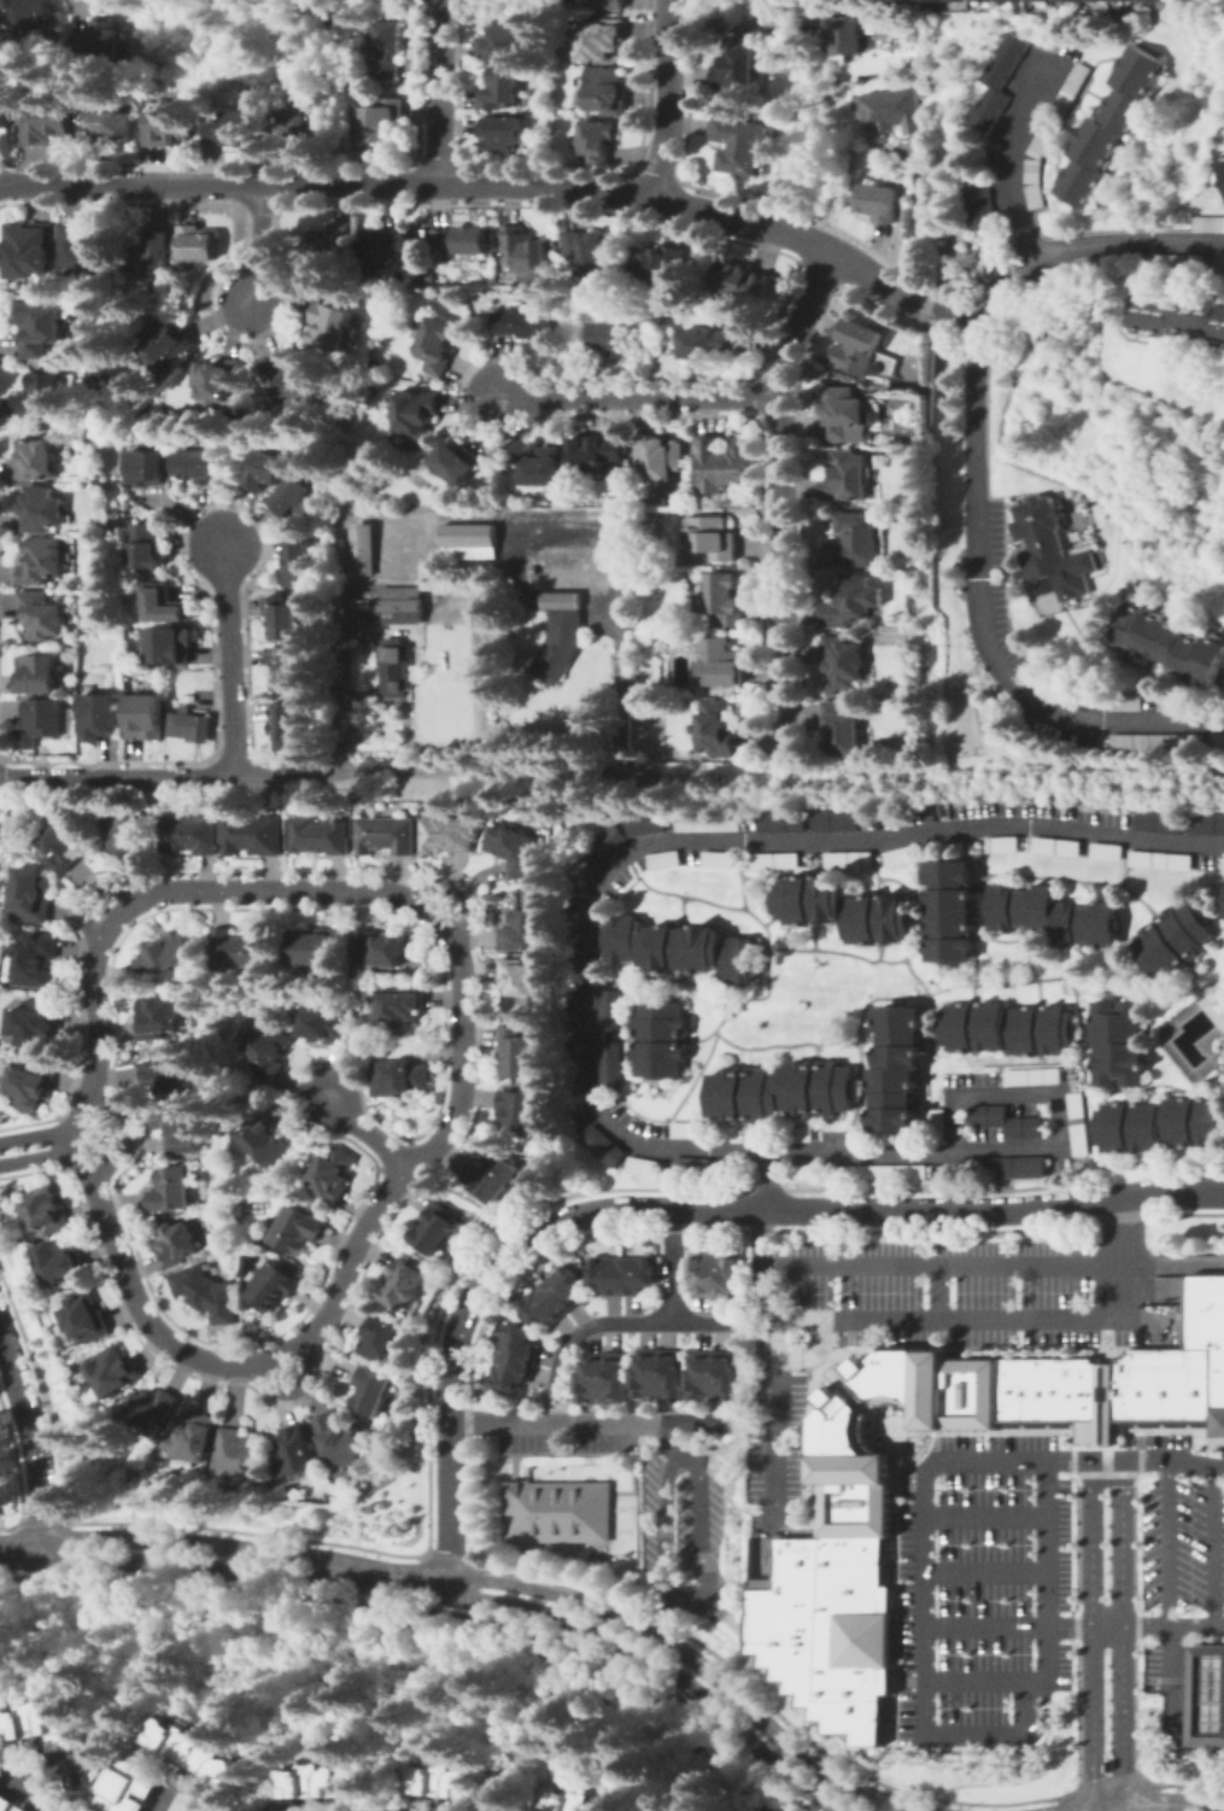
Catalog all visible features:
building: (901, 0)
building: (921, 0)
building: (954, 0)
building: (982, 0)
building: (1006, 0)
building: (1030, 0)
building: (1042, 0)
building: (1070, 0)
building: (1094, 0)
building: (1150, 0)
road: (87, 2)
building: (608, 5)
building: (29, 10)
road: (733, 27)
building: (843, 34)
building: (603, 39)
building: (504, 40)
building: (99, 41)
building: (386, 48)
building: (737, 65)
building: (369, 74)
building: (995, 88)
building: (500, 89)
building: (607, 90)
building: (1070, 92)
road: (440, 93)
road: (670, 100)
building: (896, 111)
building: (5, 113)
building: (379, 121)
building: (297, 124)
building: (48, 125)
building: (1111, 127)
building: (111, 128)
building: (168, 128)
building: (234, 129)
building: (502, 134)
building: (597, 140)
building: (1041, 141)
building: (739, 144)
road: (1012, 156)
building: (1223, 156)
building: (1222, 168)
building: (1033, 171)
building: (1222, 180)
road: (472, 186)
building: (1036, 198)
building: (879, 203)
building: (978, 206)
building: (1208, 224)
road: (915, 226)
building: (461, 240)
building: (198, 243)
building: (332, 243)
road: (262, 246)
building: (385, 247)
building: (29, 249)
building: (521, 249)
building: (87, 251)
building: (591, 252)
building: (152, 253)
building: (658, 263)
building: (1181, 263)
building: (1222, 263)
building: (742, 279)
road: (951, 315)
building: (1179, 315)
building: (526, 322)
building: (330, 326)
building: (40, 329)
building: (611, 338)
building: (165, 341)
building: (710, 343)
building: (437, 346)
building: (857, 347)
building: (287, 376)
building: (217, 379)
building: (39, 395)
road: (643, 399)
building: (874, 411)
building: (843, 413)
building: (415, 415)
building: (595, 452)
building: (880, 456)
building: (661, 457)
building: (36, 460)
building: (456, 463)
building: (195, 466)
building: (724, 466)
building: (146, 467)
building: (543, 467)
building: (263, 468)
building: (847, 478)
road: (781, 483)
road: (976, 483)
building: (295, 497)
building: (43, 509)
building: (713, 537)
building: (469, 542)
building: (855, 542)
building: (146, 545)
building: (364, 548)
building: (1050, 551)
building: (601, 559)
building: (43, 561)
building: (298, 563)
building: (564, 600)
building: (725, 601)
building: (849, 602)
building: (164, 604)
building: (402, 612)
building: (42, 615)
building: (283, 615)
building: (1170, 643)
building: (558, 644)
building: (170, 645)
road: (233, 661)
building: (719, 662)
building: (843, 664)
building: (285, 666)
building: (398, 672)
building: (39, 673)
road: (342, 690)
building: (1130, 702)
building: (1176, 702)
building: (147, 715)
building: (101, 717)
building: (43, 718)
building: (288, 724)
building: (193, 725)
building: (716, 729)
building: (841, 729)
building: (1159, 742)
building: (1220, 742)
road: (1020, 767)
road: (160, 777)
road: (428, 777)
building: (783, 822)
building: (837, 822)
building: (1160, 822)
building: (709, 823)
building: (648, 824)
building: (1207, 824)
building: (191, 834)
building: (254, 834)
building: (450, 834)
building: (387, 835)
building: (129, 836)
building: (321, 836)
building: (65, 845)
building: (605, 845)
building: (1003, 845)
building: (1056, 847)
building: (514, 848)
building: (1106, 851)
building: (902, 857)
building: (666, 859)
building: (720, 859)
building: (850, 859)
building: (777, 860)
building: (1160, 860)
road: (609, 866)
building: (1223, 887)
building: (34, 894)
building: (845, 910)
building: (951, 911)
building: (1054, 916)
building: (521, 930)
building: (1175, 941)
building: (316, 946)
building: (241, 948)
building: (379, 948)
building: (684, 948)
building: (168, 953)
building: (35, 958)
building: (519, 983)
building: (1220, 1005)
building: (400, 1007)
building: (609, 1012)
building: (160, 1018)
building: (662, 1020)
building: (34, 1023)
building: (327, 1026)
building: (1009, 1029)
building: (1120, 1042)
building: (269, 1048)
building: (519, 1052)
road: (464, 1058)
building: (661, 1058)
building: (609, 1065)
building: (898, 1068)
building: (166, 1074)
building: (1035, 1076)
building: (400, 1077)
building: (30, 1085)
building: (783, 1092)
road: (1054, 1097)
building: (519, 1111)
building: (1009, 1122)
building: (1079, 1123)
building: (938, 1124)
building: (1162, 1124)
building: (188, 1129)
building: (690, 1129)
building: (798, 1134)
building: (860, 1134)
road: (368, 1135)
building: (265, 1139)
road: (40, 1145)
building: (604, 1145)
building: (693, 1164)
building: (645, 1167)
building: (728, 1167)
building: (1023, 1168)
building: (809, 1172)
building: (882, 1172)
building: (334, 1174)
building: (494, 1175)
road: (771, 1181)
building: (171, 1190)
road: (687, 1209)
building: (46, 1210)
building: (437, 1228)
building: (297, 1229)
road: (759, 1237)
building: (176, 1244)
building: (60, 1262)
road: (673, 1266)
road: (910, 1266)
building: (213, 1269)
building: (698, 1270)
building: (722, 1272)
building: (604, 1273)
building: (637, 1273)
building: (404, 1284)
building: (562, 1285)
building: (274, 1286)
road: (939, 1292)
building: (207, 1293)
building: (537, 1305)
building: (86, 1319)
road: (1024, 1319)
road: (622, 1322)
building: (1208, 1332)
building: (379, 1338)
road: (778, 1338)
building: (514, 1340)
road: (1106, 1367)
building: (115, 1371)
building: (645, 1372)
building: (668, 1372)
building: (508, 1373)
building: (698, 1373)
building: (722, 1373)
building: (590, 1377)
building: (614, 1377)
building: (1143, 1388)
building: (1169, 1388)
building: (1199, 1388)
building: (374, 1389)
road: (295, 1390)
building: (1121, 1391)
building: (1006, 1392)
building: (1021, 1392)
building: (1039, 1392)
building: (1062, 1392)
building: (1088, 1392)
building: (152, 1410)
road: (503, 1419)
road: (1106, 1421)
building: (1107, 1421)
road: (639, 1422)
building: (194, 1438)
road: (668, 1439)
building: (340, 1441)
building: (841, 1441)
road: (34, 1444)
road: (1106, 1444)
building: (297, 1453)
building: (242, 1454)
road: (780, 1465)
building: (560, 1512)
road: (985, 1515)
road: (189, 1538)
road: (1167, 1544)
road: (924, 1547)
road: (1214, 1547)
road: (22, 1549)
building: (833, 1560)
road: (186, 1564)
parking lot: (1037, 1570)
road: (986, 1572)
road: (355, 1573)
road: (414, 1579)
road: (458, 1585)
road: (693, 1599)
road: (1124, 1634)
road: (1094, 1635)
building: (838, 1647)
road: (1200, 1649)
road: (924, 1655)
road: (695, 1659)
building: (783, 1660)
road: (1200, 1664)
road: (672, 1672)
road: (997, 1683)
building: (1207, 1694)
gas station: (1207, 1694)
road: (1200, 1696)
building: (824, 1700)
road: (1177, 1707)
road: (1200, 1711)
road: (1048, 1717)
road: (1200, 1724)
building: (40, 1730)
road: (1202, 1740)
building: (200, 1751)
road: (40, 1765)
building: (447, 1778)
building: (320, 1781)
building: (133, 1786)
road: (33, 1792)
road: (169, 1800)
building: (578, 1800)
building: (8, 1803)
building: (191, 1803)
road: (1172, 1803)
road: (882, 1806)
building: (28, 1809)

